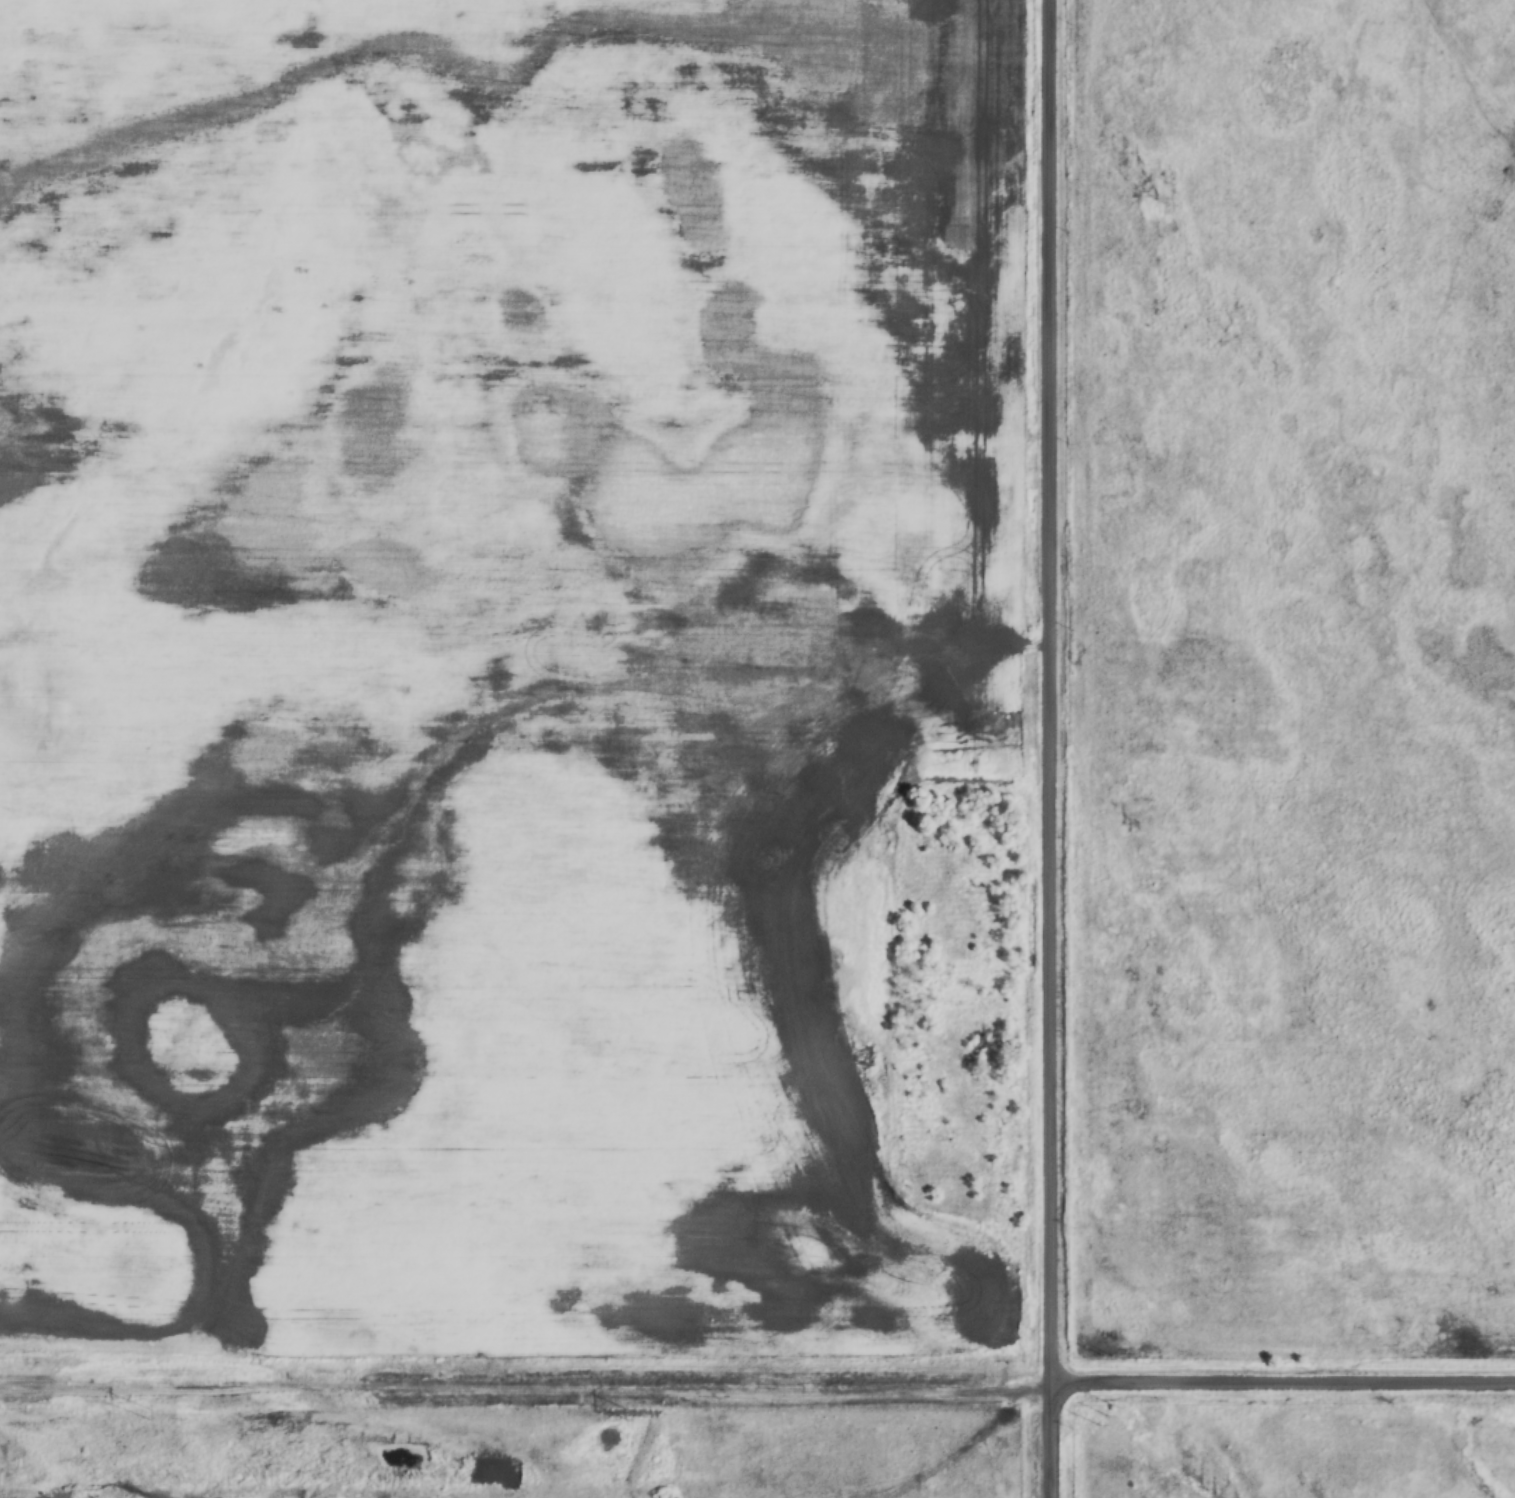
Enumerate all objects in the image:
road: (1048, 749)
road: (1282, 1385)
road: (525, 1391)
power tower: (146, 1413)
power tower: (625, 1414)
power tower: (1107, 1416)

